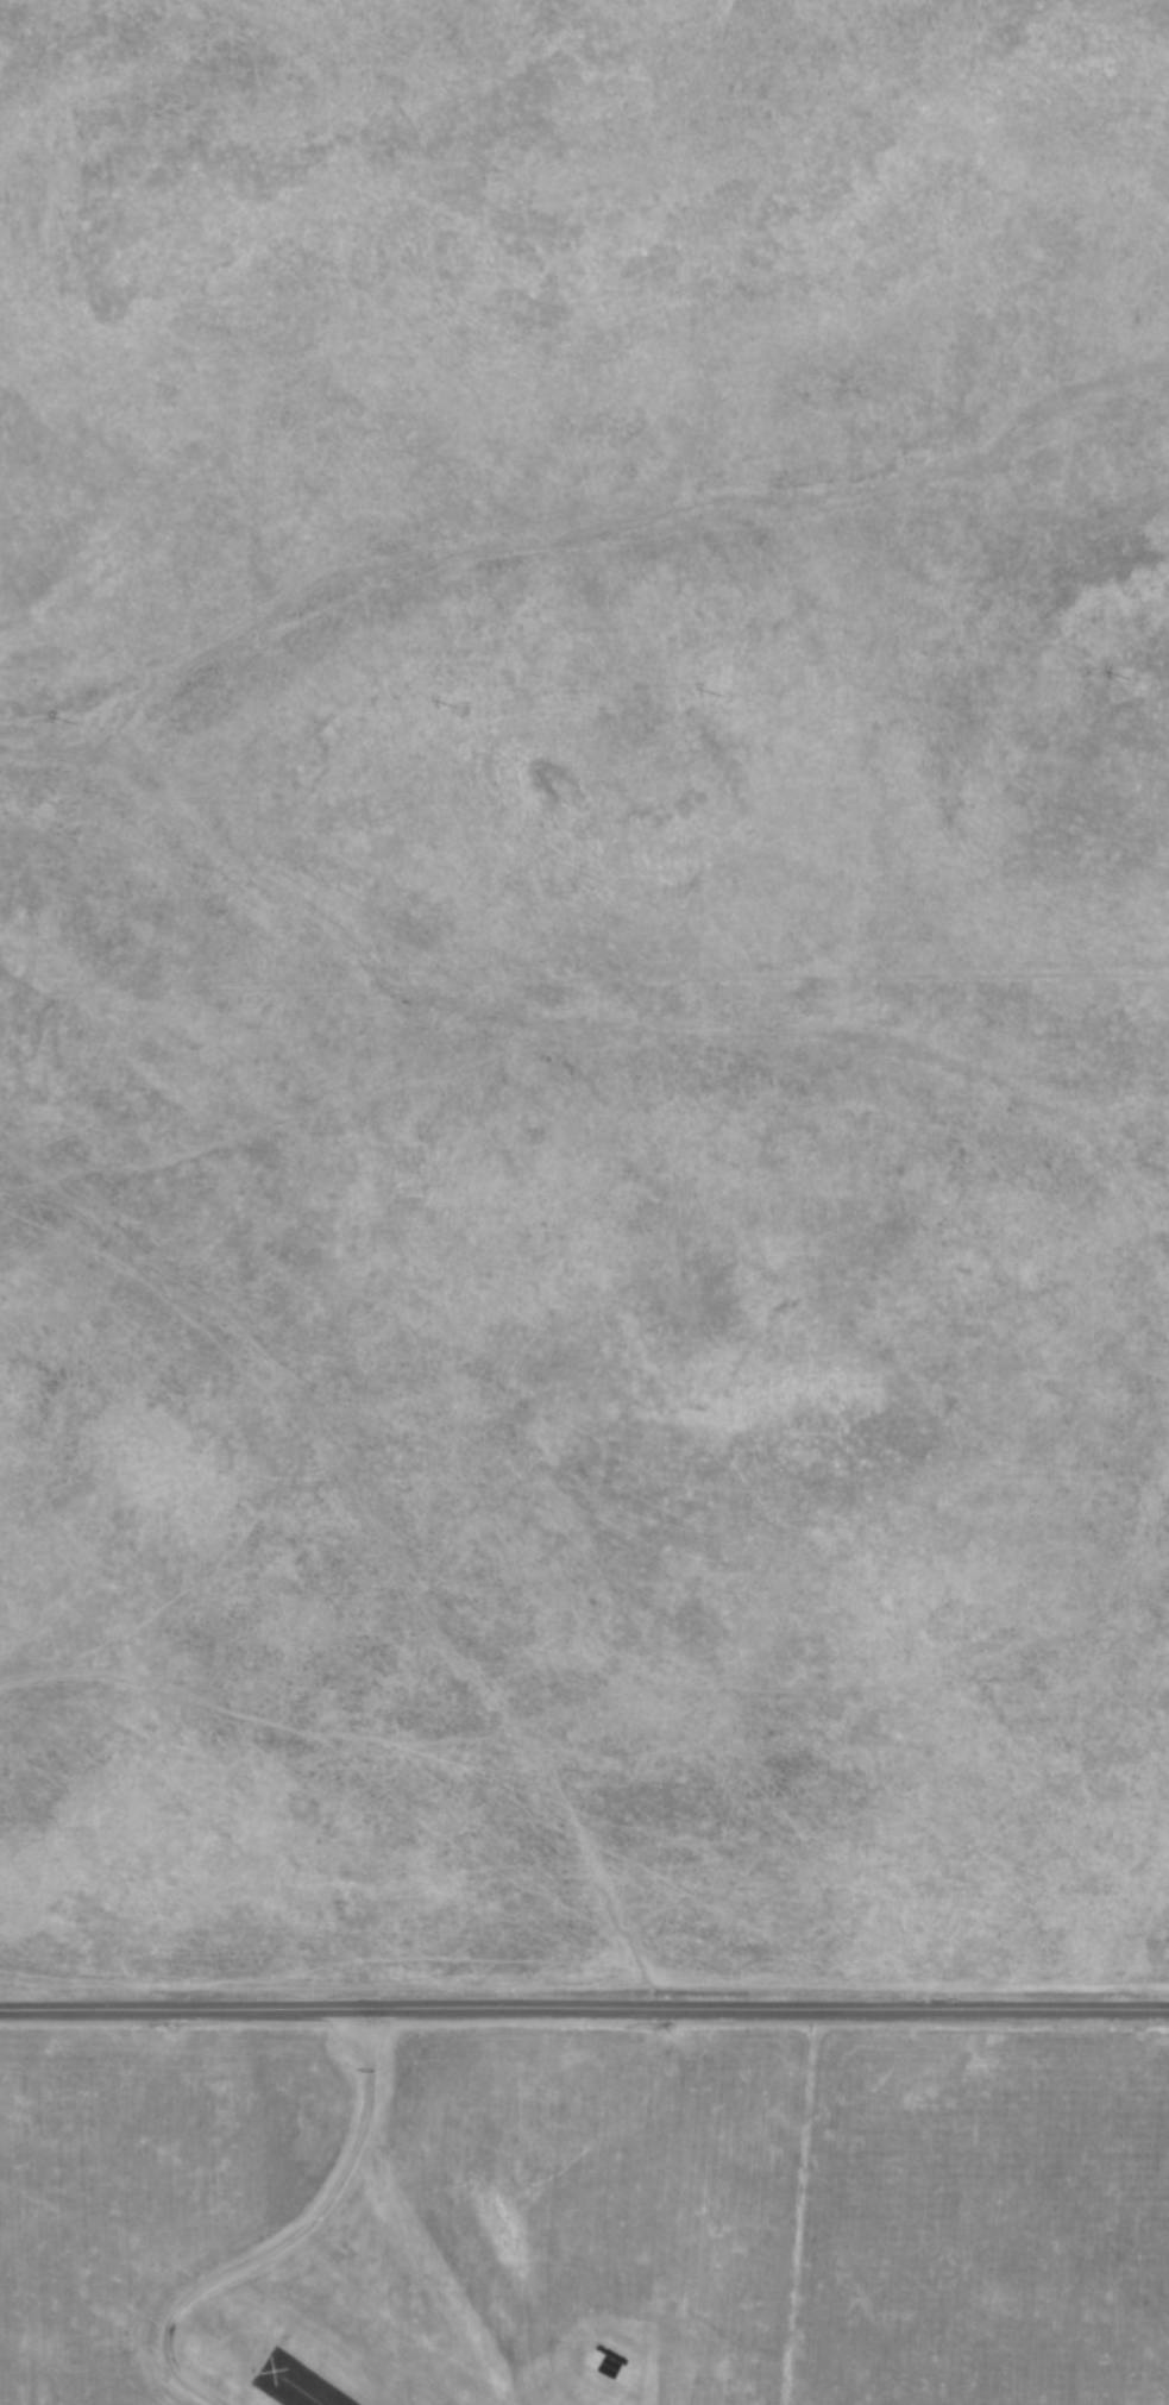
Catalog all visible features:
road: (584, 2010)
road: (284, 2241)

